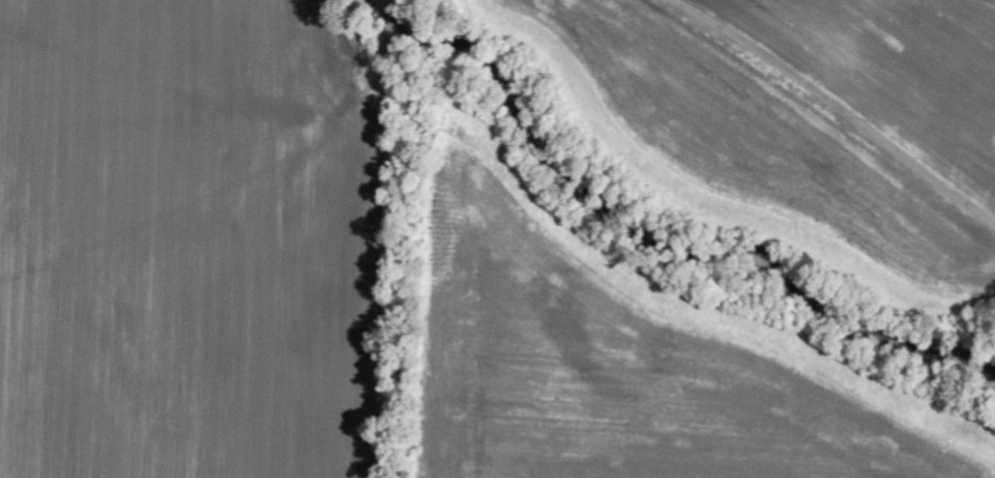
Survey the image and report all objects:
road: (837, 108)

